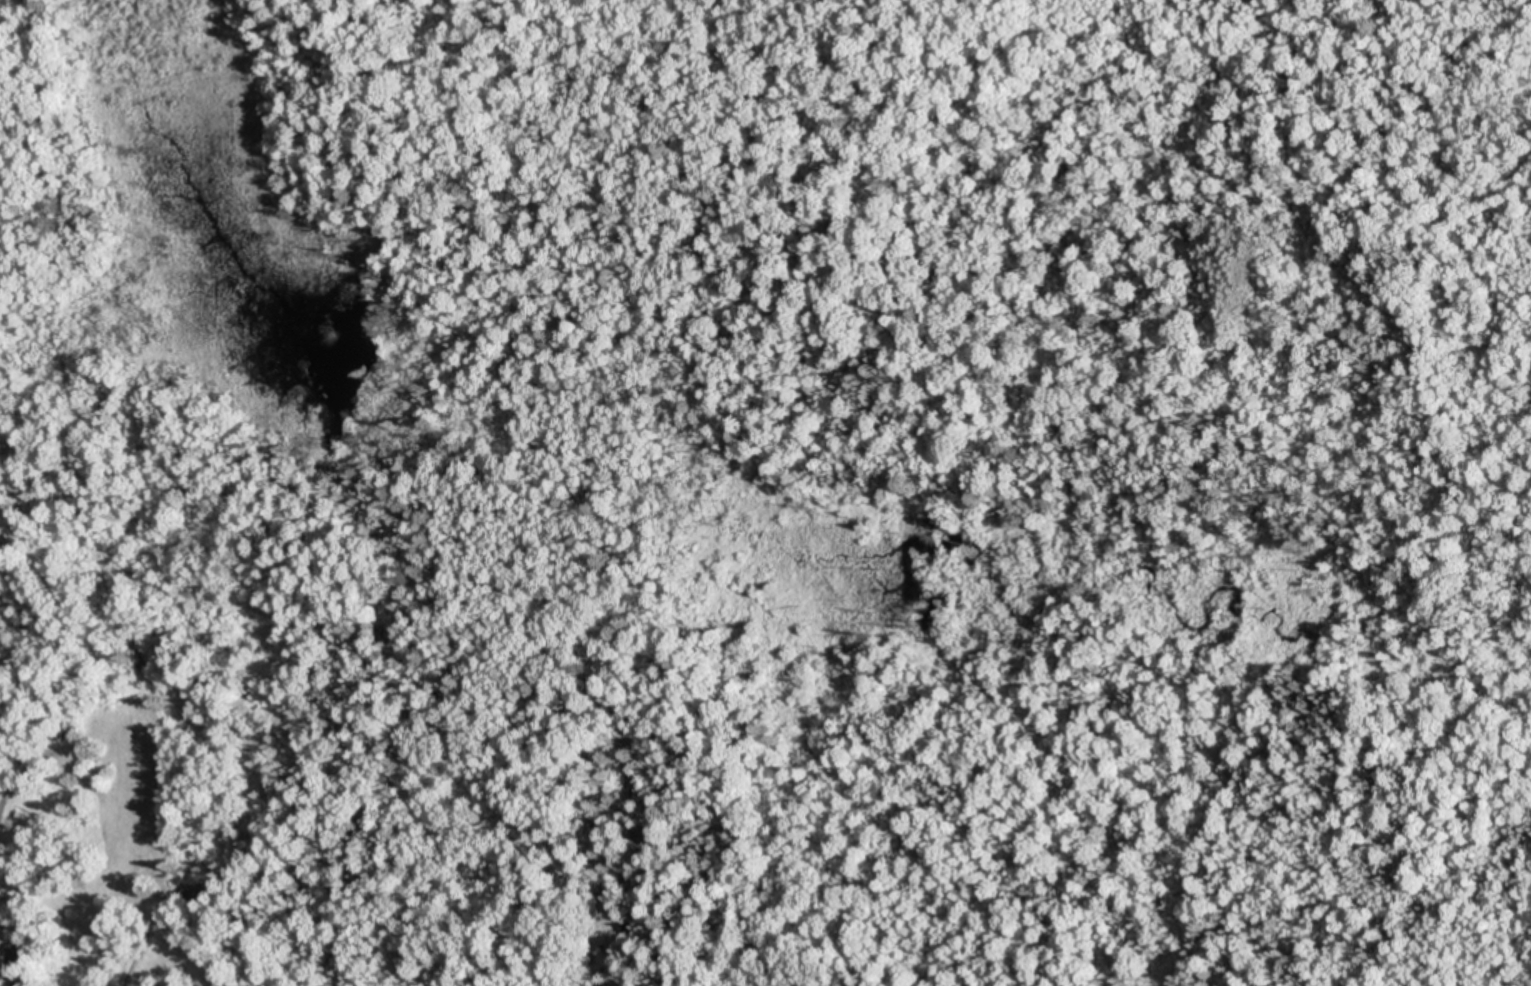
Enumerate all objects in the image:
building: (17, 963)

